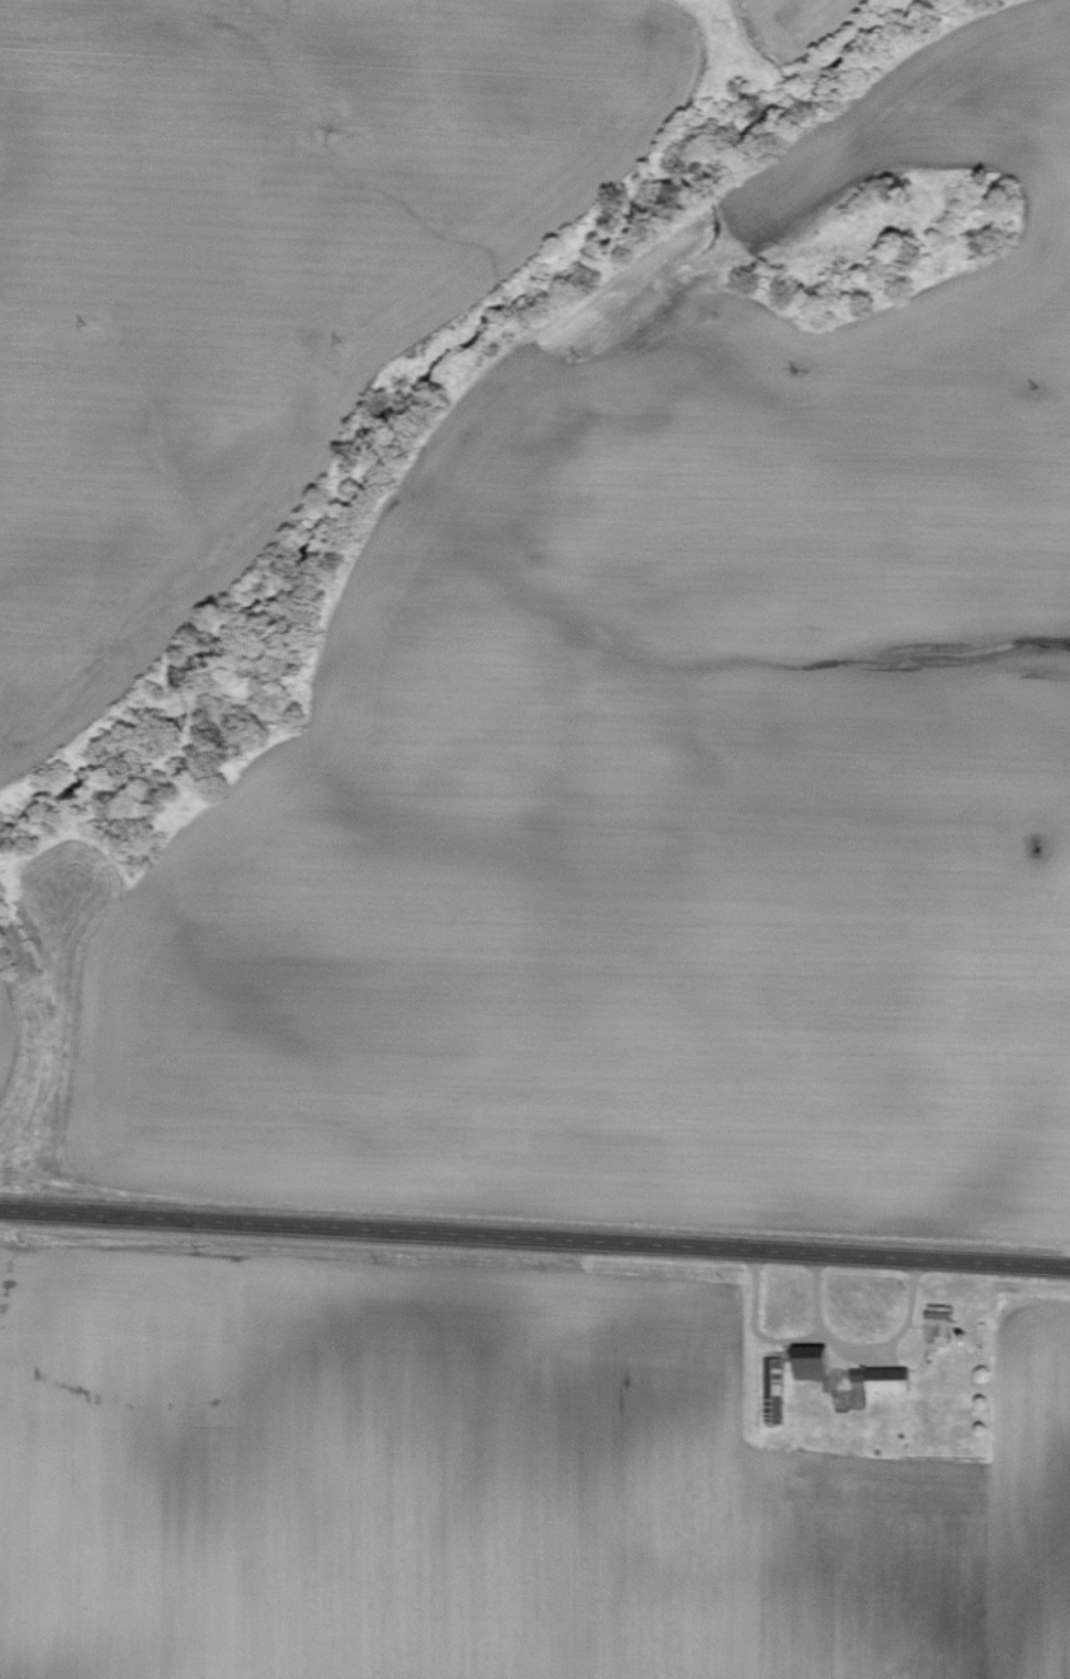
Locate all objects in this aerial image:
road: (534, 1242)
building: (879, 1378)
building: (770, 1388)

